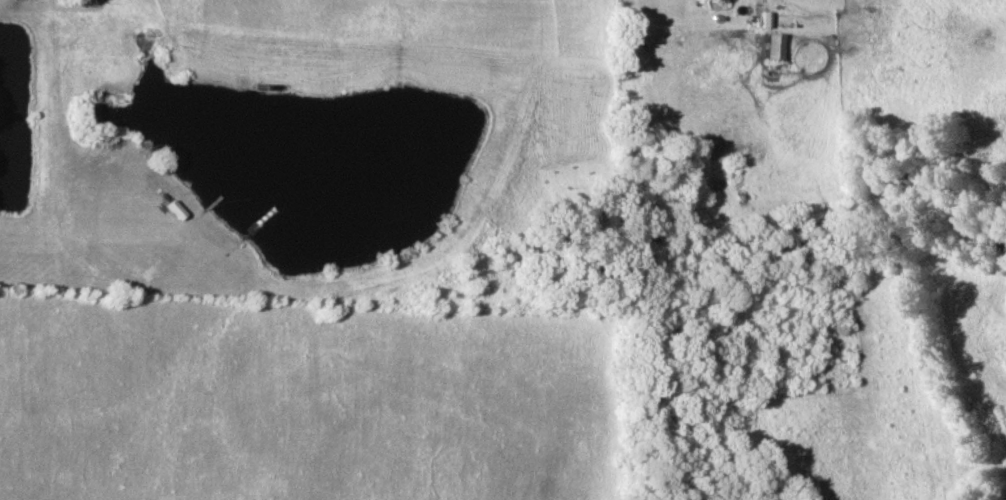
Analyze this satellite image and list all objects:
building: (777, 46)
building: (176, 210)

